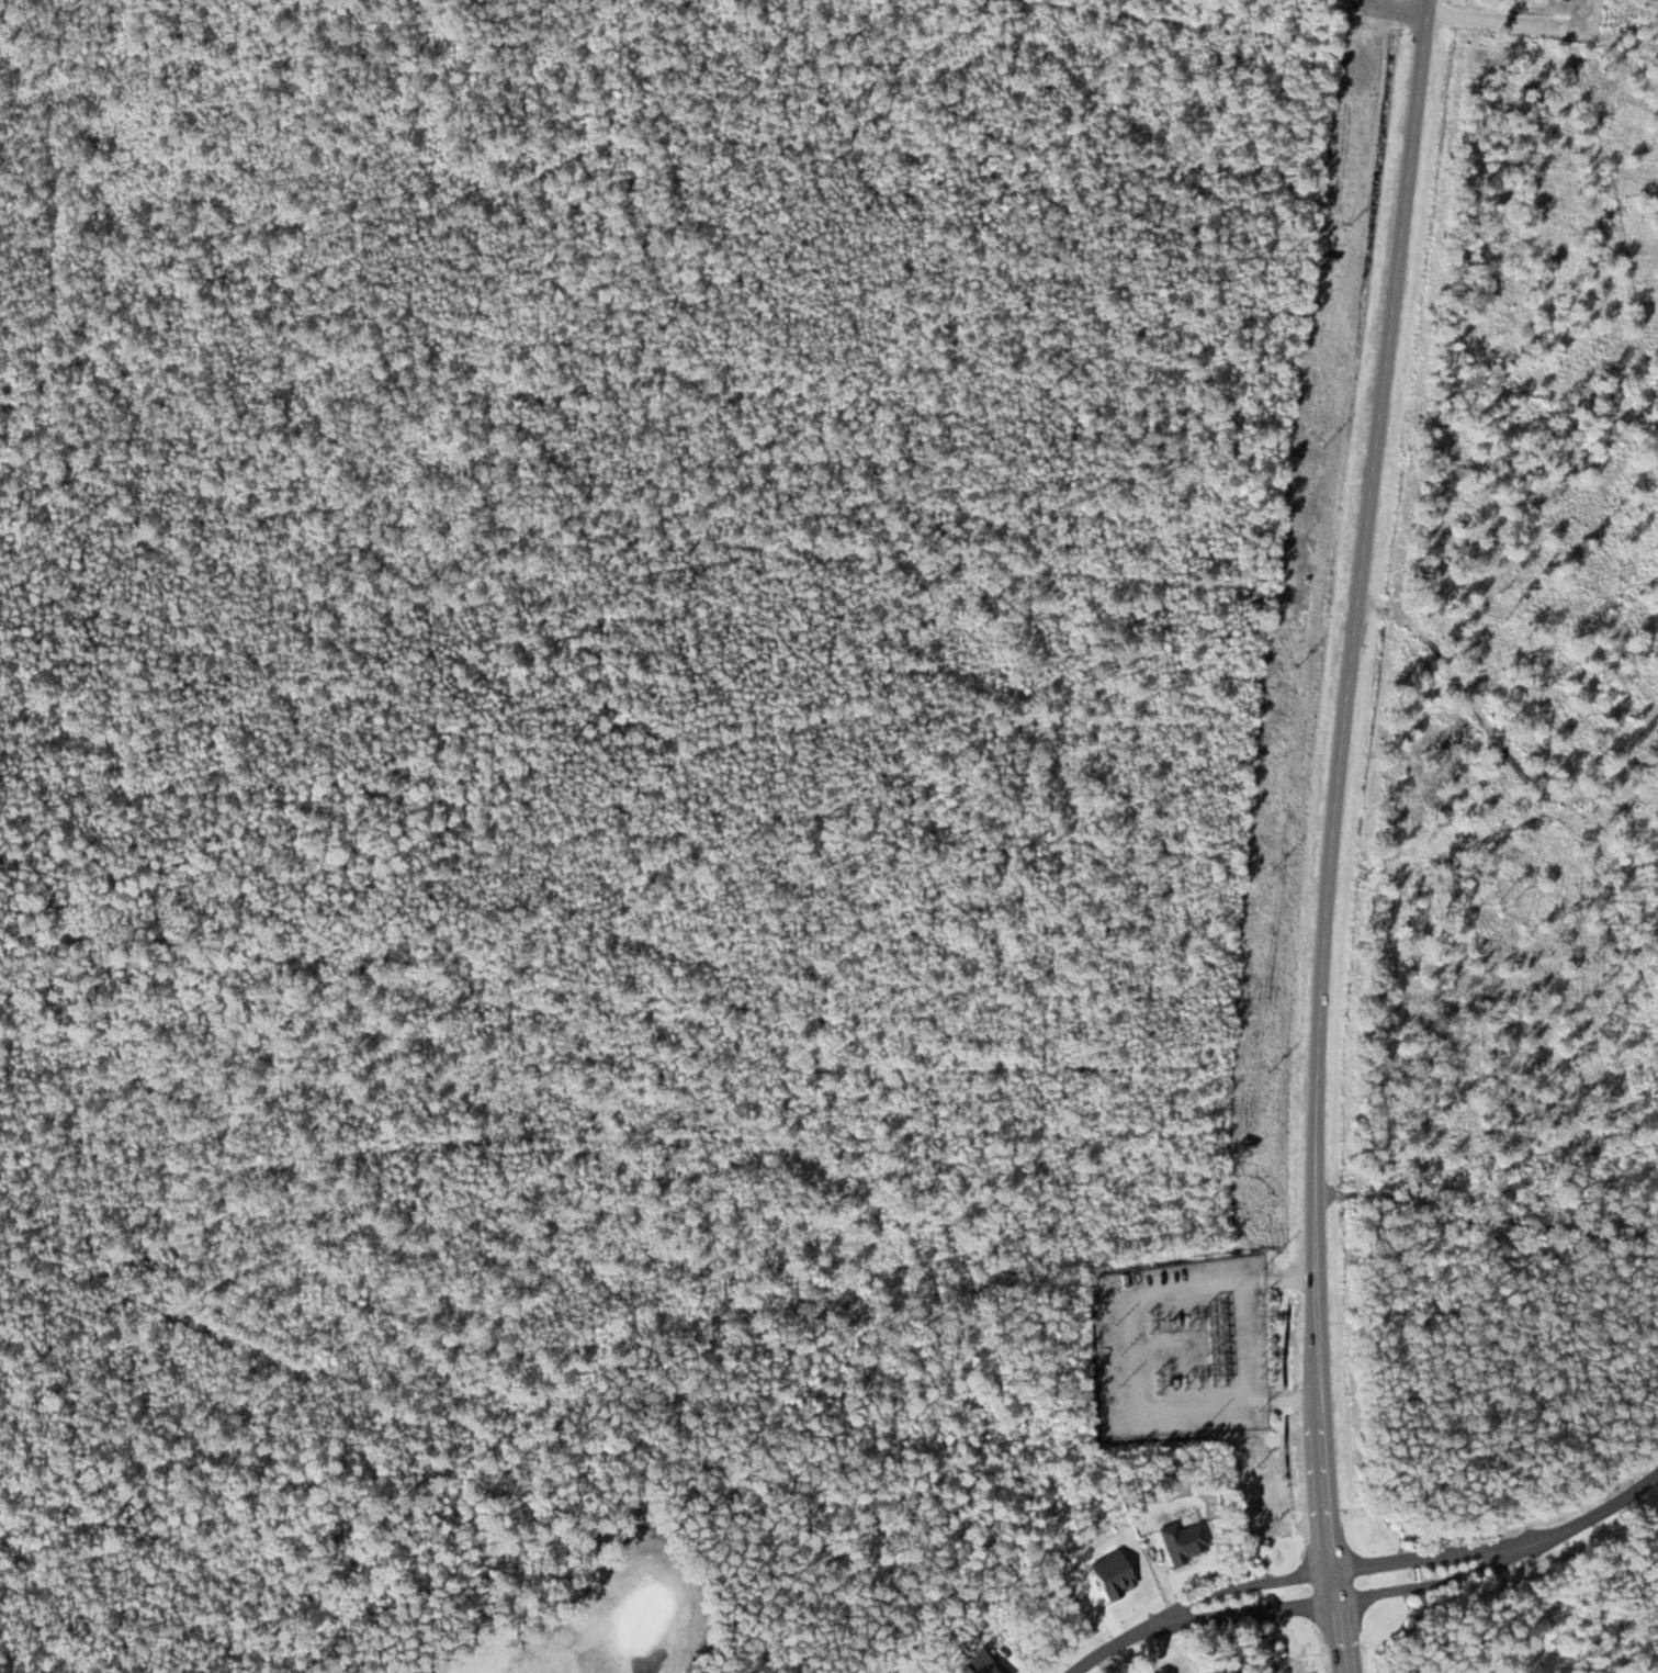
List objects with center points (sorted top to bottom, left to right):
power tower: (1344, 216)
power tower: (1317, 436)
power tower: (1289, 660)
road: (1331, 834)
power tower: (1267, 864)
power tower: (1257, 1069)
power substation: (1177, 1344)
road: (1499, 1542)
road: (1196, 1610)
building: (1157, 1672)

